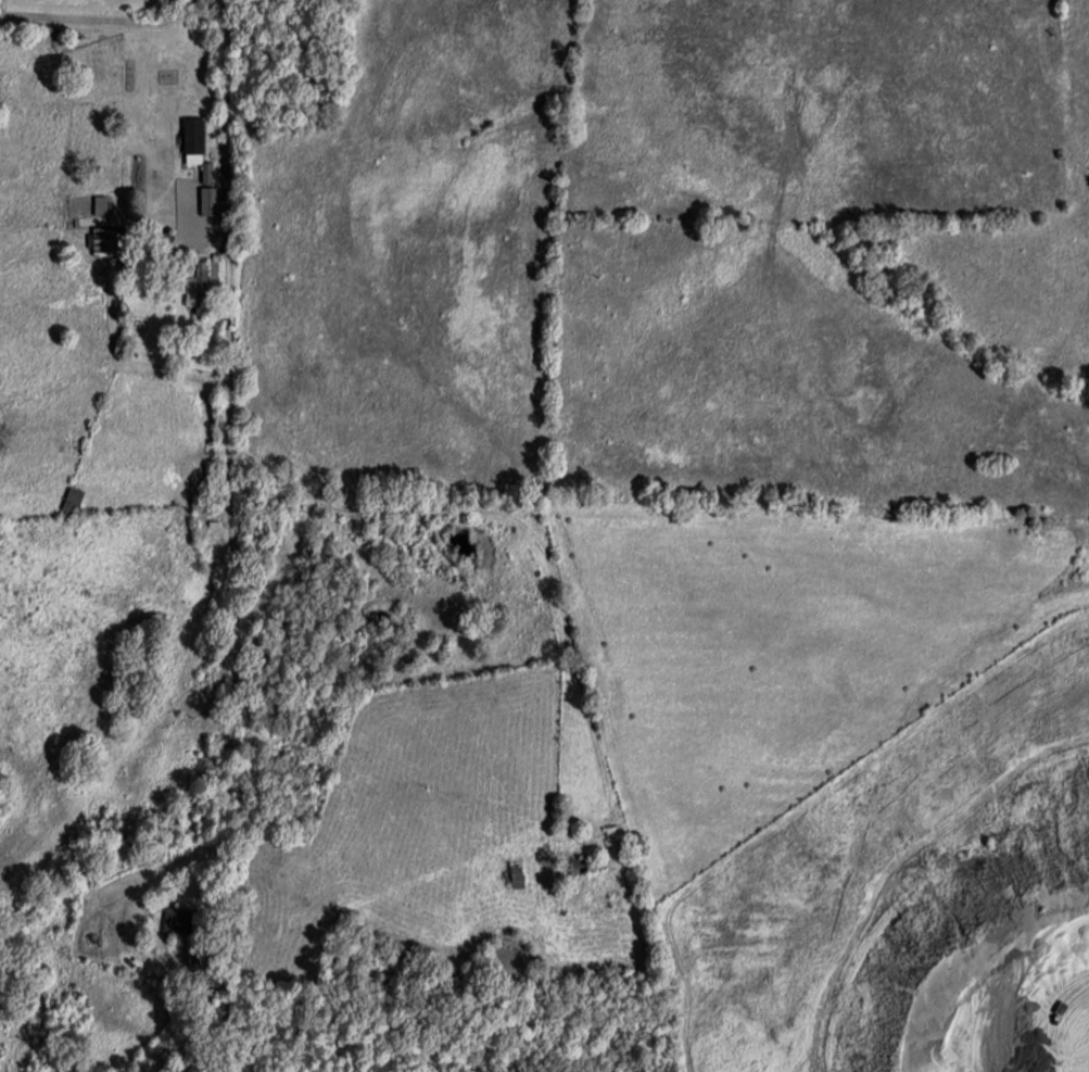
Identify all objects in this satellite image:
road: (94, 46)
building: (192, 136)
road: (181, 157)
building: (208, 201)
building: (100, 205)
building: (162, 242)
building: (198, 289)
building: (72, 500)
building: (611, 833)
building: (585, 865)
building: (516, 873)
building: (176, 921)

